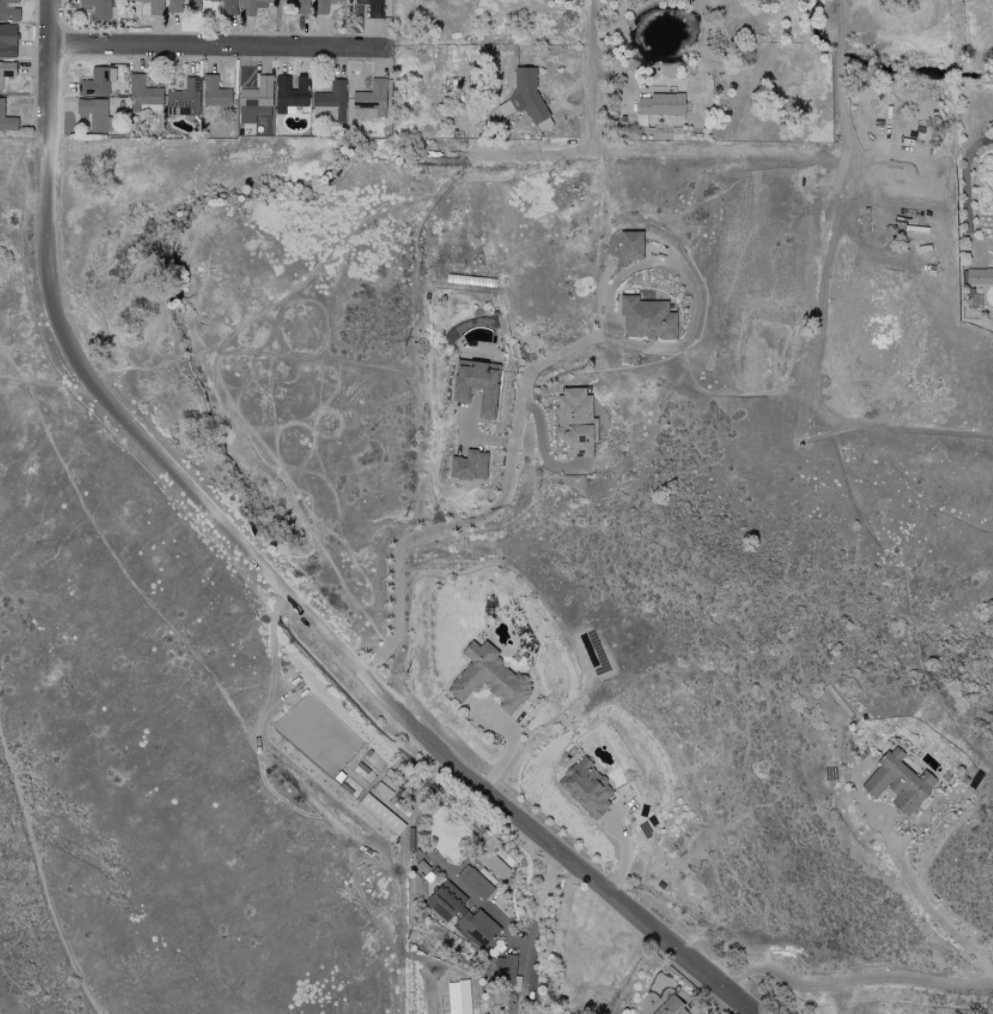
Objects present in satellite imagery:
building: (170, 5)
building: (192, 5)
building: (152, 6)
building: (250, 6)
building: (323, 6)
building: (227, 7)
building: (371, 7)
building: (97, 8)
building: (8, 10)
building: (7, 40)
road: (217, 46)
road: (838, 66)
building: (6, 70)
road: (595, 76)
building: (94, 82)
building: (213, 92)
building: (289, 93)
building: (142, 95)
building: (182, 99)
building: (254, 100)
building: (369, 100)
building: (329, 101)
building: (659, 104)
building: (93, 113)
building: (6, 121)
road: (670, 154)
road: (967, 177)
building: (629, 244)
building: (978, 276)
road: (297, 286)
building: (645, 318)
power tower: (404, 339)
road: (4, 361)
road: (527, 377)
building: (474, 385)
road: (45, 391)
building: (574, 422)
building: (467, 466)
power tower: (405, 524)
road: (268, 574)
building: (488, 679)
power tower: (404, 680)
building: (897, 783)
building: (586, 788)
building: (380, 813)
road: (42, 875)
building: (476, 884)
building: (444, 900)
road: (928, 908)
building: (475, 927)
road: (522, 945)
power tower: (406, 946)
road: (853, 980)
building: (669, 1007)

